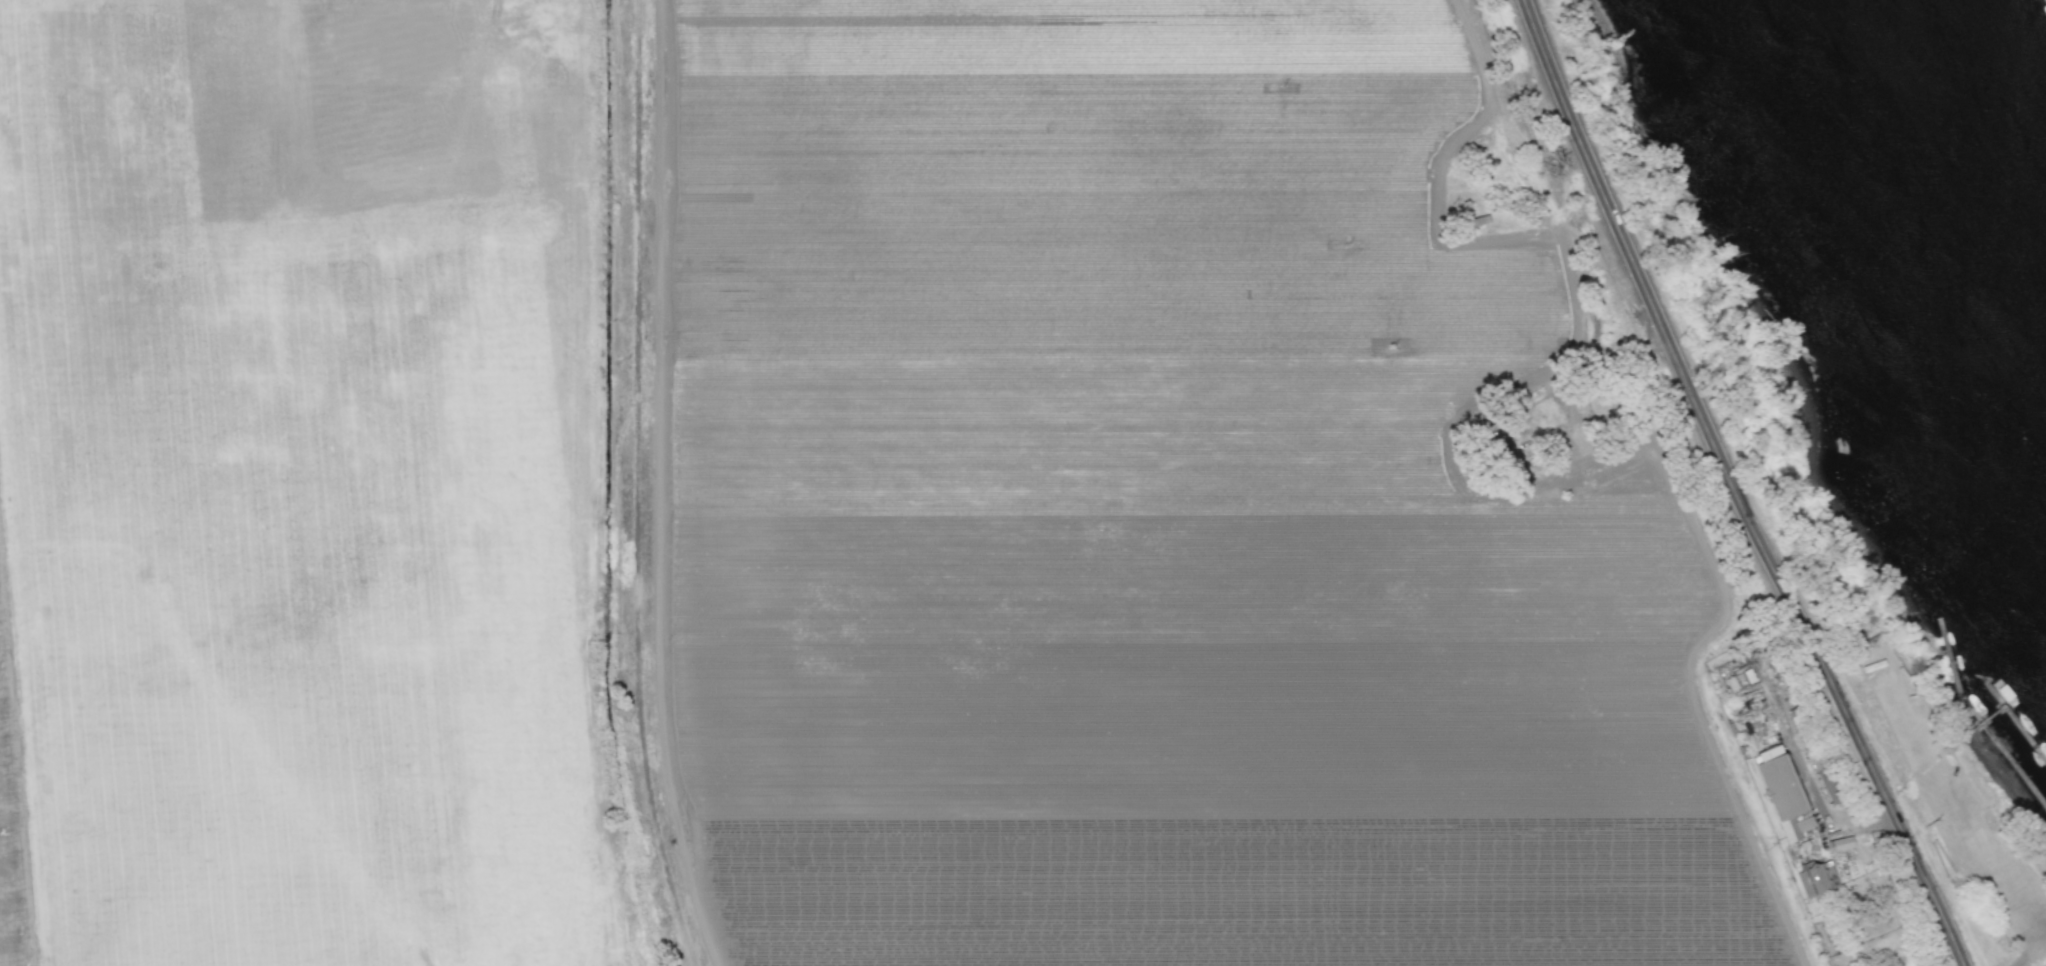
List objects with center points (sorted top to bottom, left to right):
river: (1927, 206)
road: (1732, 488)
crop: (1153, 512)
pier: (1954, 671)
pier: (2014, 715)
pier: (1953, 742)
pier: (2014, 761)
road: (1802, 771)
building: (1780, 785)
road: (1944, 789)
building: (1812, 880)
road: (1938, 936)
road: (2030, 950)

